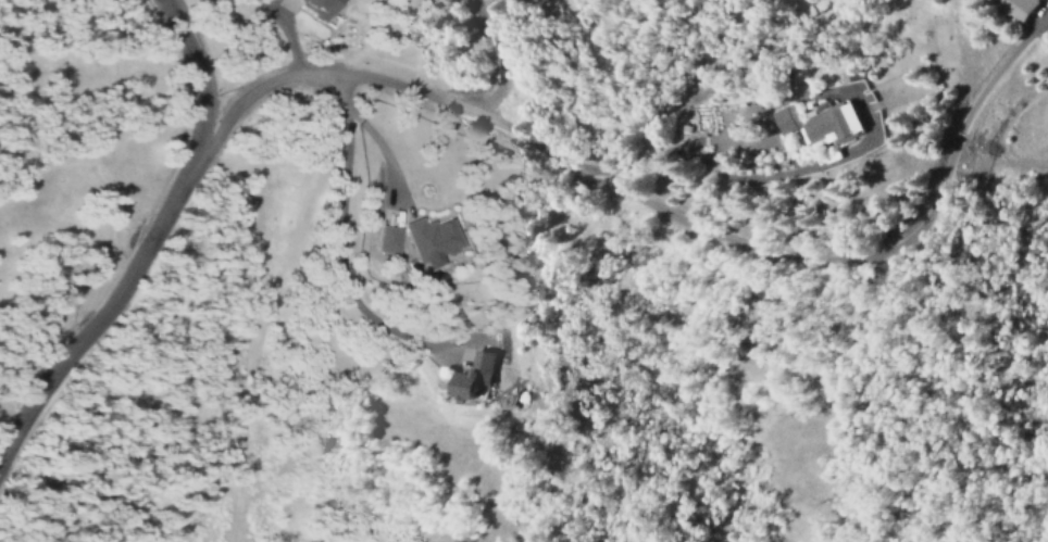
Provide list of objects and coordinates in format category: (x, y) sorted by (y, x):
building: (319, 7)
building: (1024, 8)
road: (348, 112)
road: (492, 118)
building: (826, 122)
road: (369, 128)
building: (437, 239)
road: (147, 240)
building: (394, 240)
road: (873, 262)
building: (485, 376)

